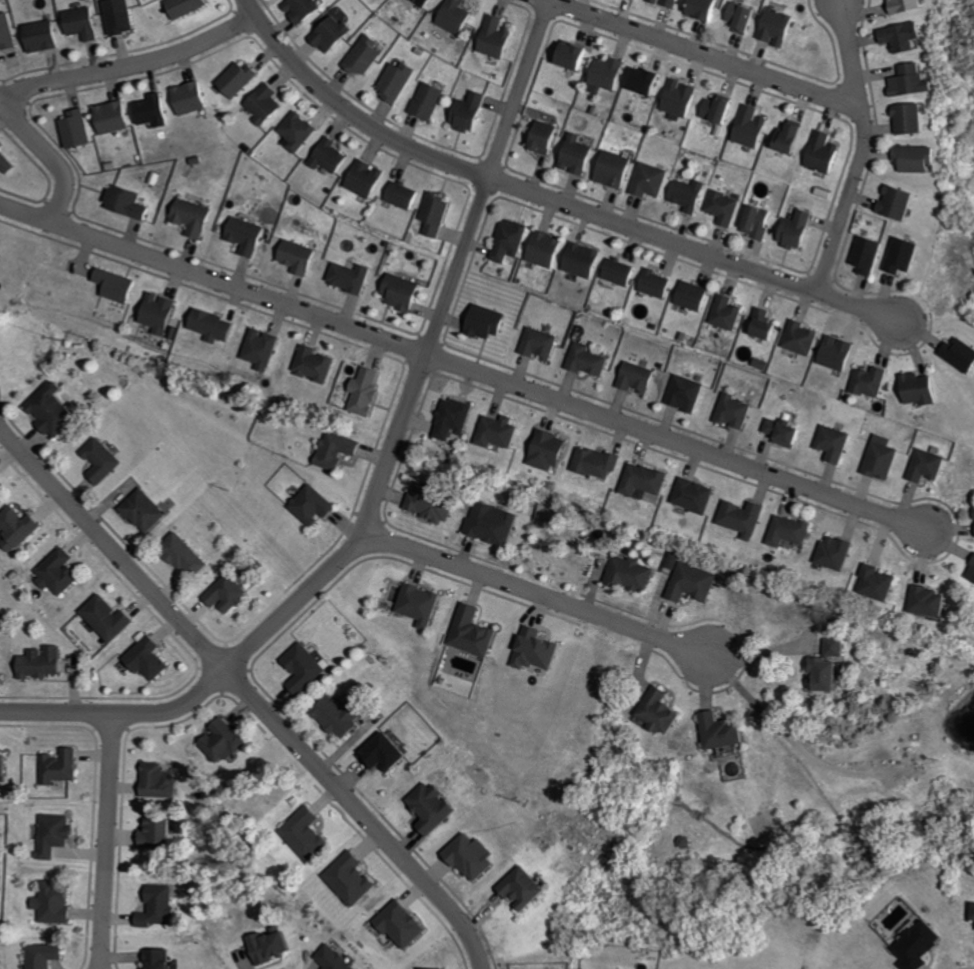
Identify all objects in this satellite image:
building: (420, 3)
building: (663, 3)
building: (901, 6)
building: (180, 7)
building: (698, 9)
building: (298, 10)
building: (449, 16)
building: (113, 17)
building: (737, 19)
building: (76, 24)
building: (772, 28)
building: (5, 33)
building: (327, 34)
building: (898, 36)
building: (36, 37)
building: (492, 39)
road: (704, 54)
building: (361, 57)
building: (567, 57)
road: (126, 64)
building: (604, 74)
building: (232, 80)
building: (392, 82)
building: (640, 82)
building: (906, 82)
building: (184, 98)
building: (676, 99)
building: (424, 102)
building: (261, 105)
building: (715, 110)
building: (148, 111)
building: (465, 113)
building: (108, 118)
building: (906, 119)
building: (746, 127)
building: (72, 130)
building: (294, 131)
building: (539, 137)
building: (787, 137)
road: (861, 149)
road: (49, 153)
building: (572, 156)
building: (326, 157)
building: (914, 159)
building: (5, 164)
building: (608, 169)
road: (485, 175)
building: (361, 179)
building: (645, 181)
building: (684, 195)
building: (400, 196)
road: (542, 197)
building: (892, 203)
building: (123, 204)
building: (720, 208)
building: (431, 216)
building: (189, 218)
building: (753, 223)
building: (792, 231)
building: (242, 236)
building: (505, 241)
building: (542, 250)
building: (863, 256)
building: (898, 256)
building: (293, 257)
building: (579, 261)
building: (617, 272)
building: (345, 278)
building: (651, 284)
building: (112, 285)
building: (397, 293)
building: (689, 296)
building: (723, 313)
building: (155, 314)
building: (479, 322)
building: (209, 326)
building: (760, 326)
building: (796, 339)
building: (535, 344)
building: (258, 349)
building: (832, 354)
building: (955, 355)
building: (583, 361)
building: (310, 365)
road: (464, 365)
building: (633, 378)
building: (864, 383)
building: (913, 390)
building: (361, 393)
building: (681, 394)
building: (57, 411)
building: (729, 412)
building: (449, 419)
building: (494, 433)
building: (779, 433)
building: (828, 444)
building: (340, 450)
building: (543, 451)
building: (105, 460)
building: (876, 462)
building: (592, 463)
building: (922, 467)
building: (1, 477)
building: (641, 480)
building: (691, 496)
building: (433, 503)
building: (316, 505)
building: (147, 510)
building: (738, 519)
building: (972, 521)
building: (497, 523)
building: (21, 527)
building: (785, 532)
building: (186, 553)
building: (830, 553)
building: (63, 571)
building: (969, 572)
building: (634, 573)
building: (694, 583)
building: (872, 584)
building: (230, 593)
road: (538, 598)
building: (924, 602)
building: (423, 604)
building: (111, 618)
road: (277, 619)
building: (476, 631)
building: (540, 649)
building: (152, 658)
building: (57, 659)
building: (836, 665)
building: (307, 668)
road: (249, 694)
building: (666, 711)
building: (343, 715)
building: (727, 731)
building: (227, 741)
building: (389, 753)
building: (4, 764)
building: (63, 766)
building: (162, 781)
building: (436, 807)
building: (160, 833)
building: (309, 833)
building: (58, 834)
road: (106, 841)
building: (476, 857)
building: (357, 879)
building: (528, 888)
building: (57, 903)
building: (161, 906)
building: (407, 924)
building: (277, 945)
building: (923, 945)
building: (47, 955)
building: (163, 959)
building: (336, 959)
building: (432, 968)

